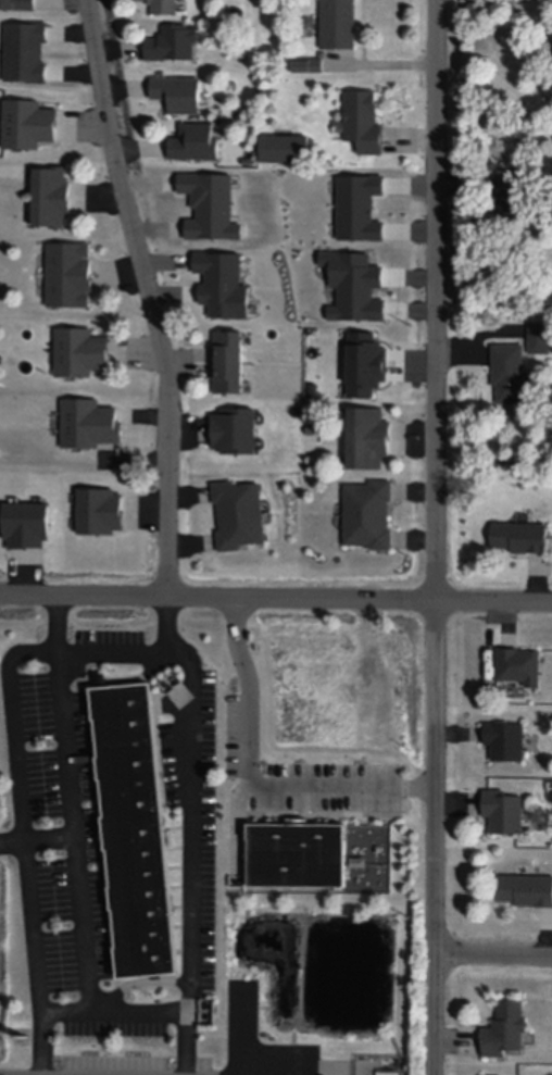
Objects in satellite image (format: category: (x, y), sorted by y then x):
building: (18, 8)
building: (164, 9)
building: (340, 26)
building: (175, 50)
building: (28, 59)
building: (312, 72)
building: (181, 101)
building: (366, 128)
building: (30, 132)
building: (198, 149)
building: (287, 155)
building: (514, 204)
building: (54, 205)
building: (72, 282)
road: (152, 295)
road: (438, 300)
building: (540, 341)
building: (83, 359)
building: (230, 370)
building: (512, 378)
building: (91, 429)
building: (313, 434)
building: (237, 437)
building: (371, 445)
building: (102, 517)
building: (369, 520)
building: (240, 521)
building: (28, 532)
building: (522, 541)
road: (217, 597)
road: (494, 601)
building: (519, 663)
building: (99, 679)
road: (113, 680)
road: (249, 692)
building: (506, 738)
road: (17, 783)
road: (344, 788)
road: (71, 803)
building: (504, 809)
road: (317, 813)
road: (236, 824)
building: (133, 830)
road: (190, 830)
road: (436, 838)
road: (36, 840)
building: (297, 855)
building: (526, 887)
road: (493, 957)
road: (137, 983)
road: (112, 1013)
building: (506, 1026)
road: (240, 1029)
road: (299, 1071)
building: (493, 1074)

